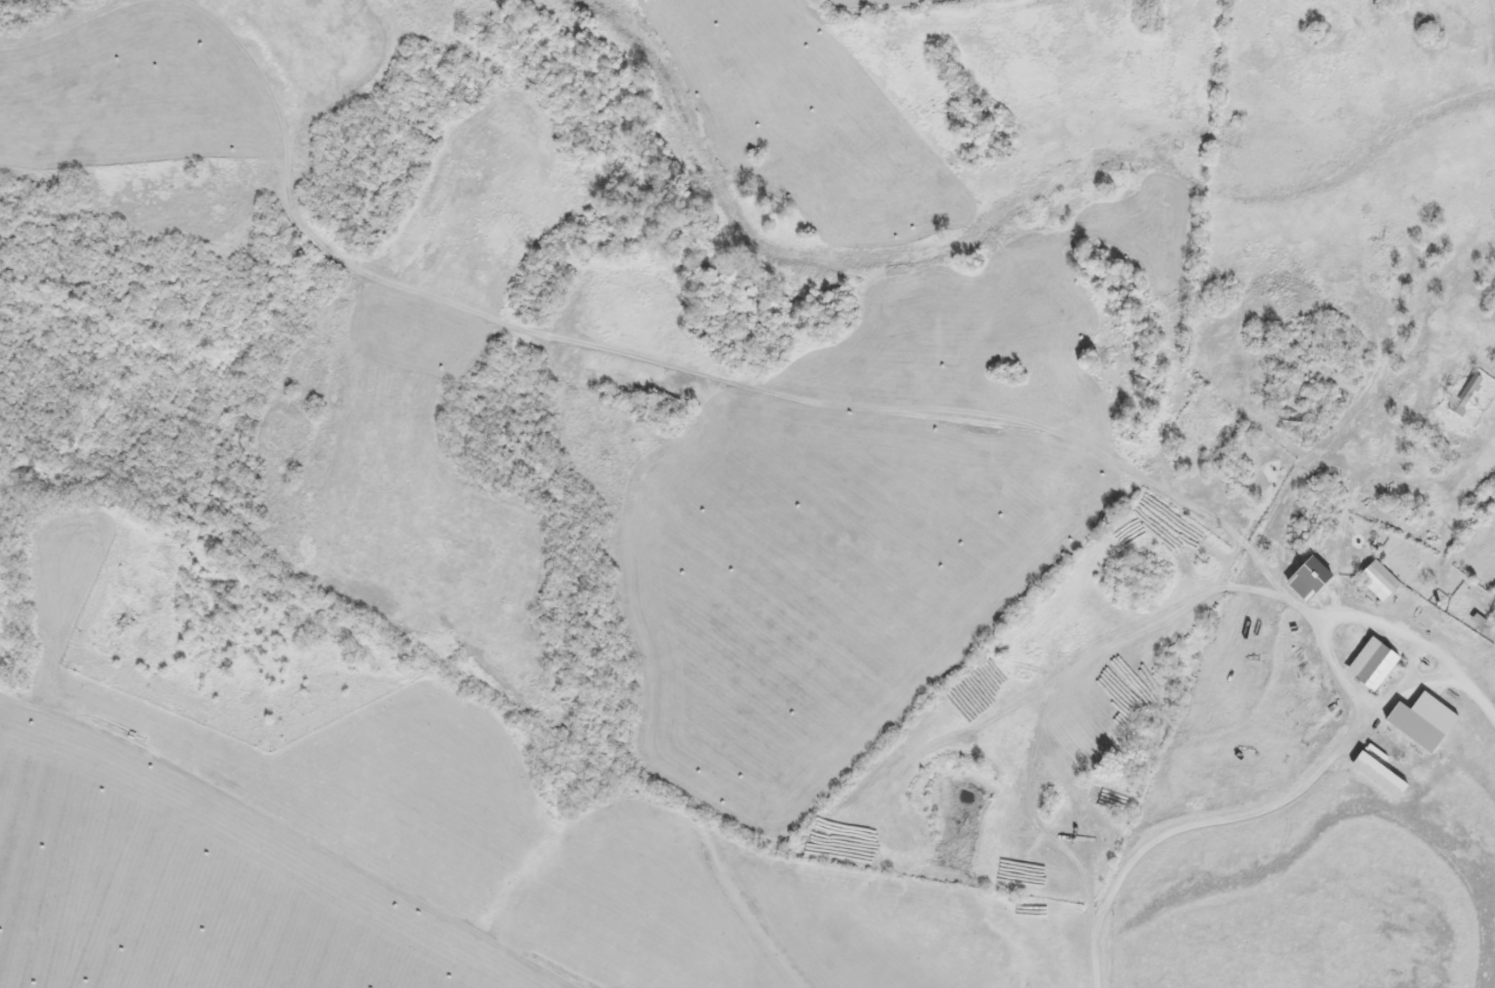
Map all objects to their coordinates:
road: (1493, 6)
building: (1462, 395)
building: (1302, 579)
building: (1373, 581)
building: (1366, 665)
building: (1383, 759)

